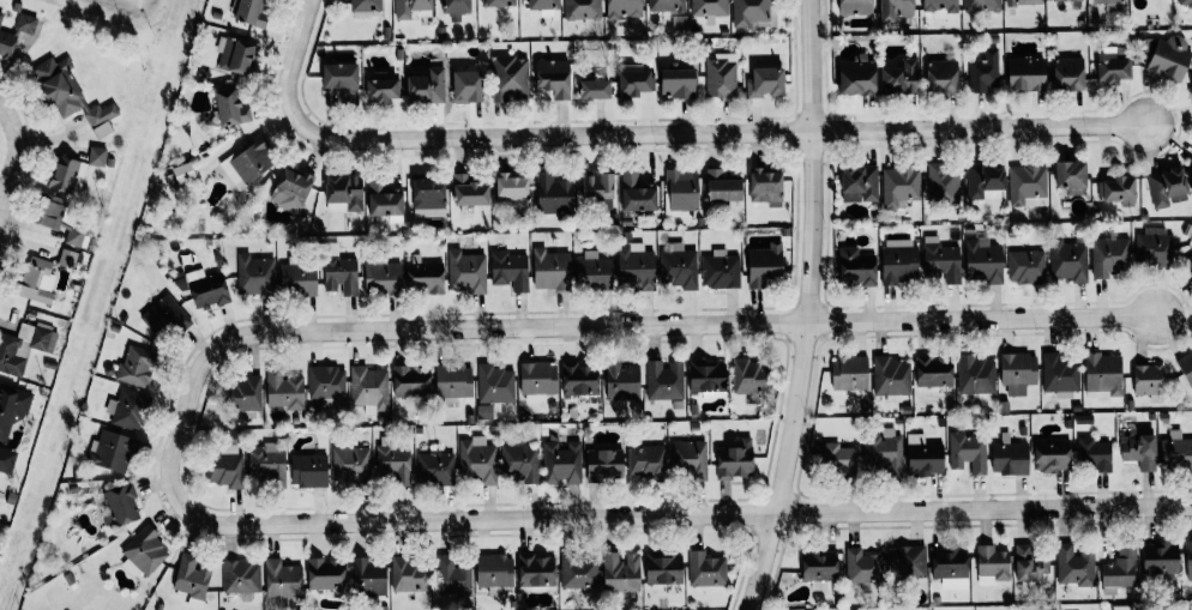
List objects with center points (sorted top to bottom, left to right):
building: (1065, 0)
building: (1023, 1)
building: (1108, 1)
building: (499, 2)
building: (542, 4)
building: (1186, 4)
building: (365, 5)
building: (666, 5)
building: (981, 5)
building: (709, 7)
building: (855, 7)
building: (411, 8)
building: (454, 8)
building: (624, 8)
building: (582, 10)
building: (895, 10)
building: (943, 10)
building: (252, 12)
building: (752, 13)
road: (307, 16)
building: (0, 17)
building: (16, 34)
building: (236, 54)
building: (1169, 58)
building: (1112, 66)
building: (983, 71)
building: (1025, 74)
building: (1067, 74)
building: (721, 76)
building: (941, 76)
building: (554, 77)
building: (856, 77)
building: (510, 78)
building: (901, 78)
building: (341, 79)
building: (764, 81)
building: (636, 83)
building: (678, 83)
building: (426, 86)
building: (468, 86)
building: (1191, 87)
building: (595, 89)
building: (380, 91)
building: (67, 93)
building: (230, 108)
road: (6, 116)
building: (102, 129)
road: (672, 134)
building: (96, 156)
building: (248, 163)
building: (1191, 163)
road: (12, 167)
building: (64, 174)
building: (183, 174)
building: (1070, 176)
building: (985, 181)
building: (859, 183)
building: (943, 185)
building: (1028, 186)
building: (722, 187)
building: (765, 187)
building: (899, 187)
building: (1167, 187)
building: (597, 188)
building: (290, 189)
building: (511, 189)
building: (681, 189)
building: (1116, 189)
building: (469, 191)
building: (553, 193)
building: (637, 193)
building: (344, 194)
building: (428, 198)
building: (383, 200)
building: (1152, 247)
building: (1109, 255)
building: (68, 259)
building: (1068, 259)
building: (940, 260)
building: (898, 261)
building: (982, 261)
building: (764, 265)
building: (1187, 265)
building: (634, 266)
building: (1025, 266)
building: (678, 267)
building: (856, 267)
building: (510, 270)
building: (550, 270)
building: (720, 270)
building: (592, 271)
building: (339, 272)
building: (466, 272)
building: (254, 274)
building: (383, 277)
building: (426, 278)
building: (36, 279)
building: (297, 279)
building: (207, 289)
road: (809, 308)
building: (164, 318)
road: (980, 320)
road: (528, 328)
building: (24, 346)
building: (137, 366)
building: (849, 373)
building: (933, 373)
building: (1017, 373)
building: (708, 375)
building: (975, 375)
building: (1059, 375)
building: (1102, 375)
building: (748, 376)
building: (890, 376)
building: (579, 380)
building: (664, 380)
building: (1148, 380)
building: (410, 381)
building: (453, 381)
building: (537, 381)
building: (621, 381)
building: (326, 382)
building: (494, 385)
building: (368, 388)
building: (283, 391)
building: (246, 394)
building: (127, 409)
building: (484, 412)
building: (11, 421)
building: (1139, 451)
building: (110, 452)
building: (968, 452)
building: (1175, 452)
building: (884, 453)
building: (1050, 454)
building: (1094, 454)
building: (923, 457)
building: (688, 458)
building: (838, 458)
building: (476, 460)
building: (734, 460)
building: (392, 461)
building: (520, 461)
building: (645, 461)
building: (266, 463)
building: (350, 463)
building: (561, 463)
building: (603, 464)
building: (225, 466)
building: (435, 469)
building: (308, 470)
building: (122, 505)
road: (579, 515)
building: (144, 552)
building: (1160, 558)
building: (1188, 560)
building: (907, 561)
building: (1029, 564)
building: (819, 566)
building: (950, 566)
building: (991, 566)
building: (1073, 566)
building: (862, 567)
building: (663, 569)
building: (705, 569)
building: (494, 570)
building: (536, 570)
building: (1119, 570)
building: (579, 572)
building: (620, 572)
building: (325, 574)
building: (240, 575)
building: (407, 575)
building: (452, 576)
building: (368, 578)
building: (282, 579)
building: (192, 580)
building: (1122, 608)

